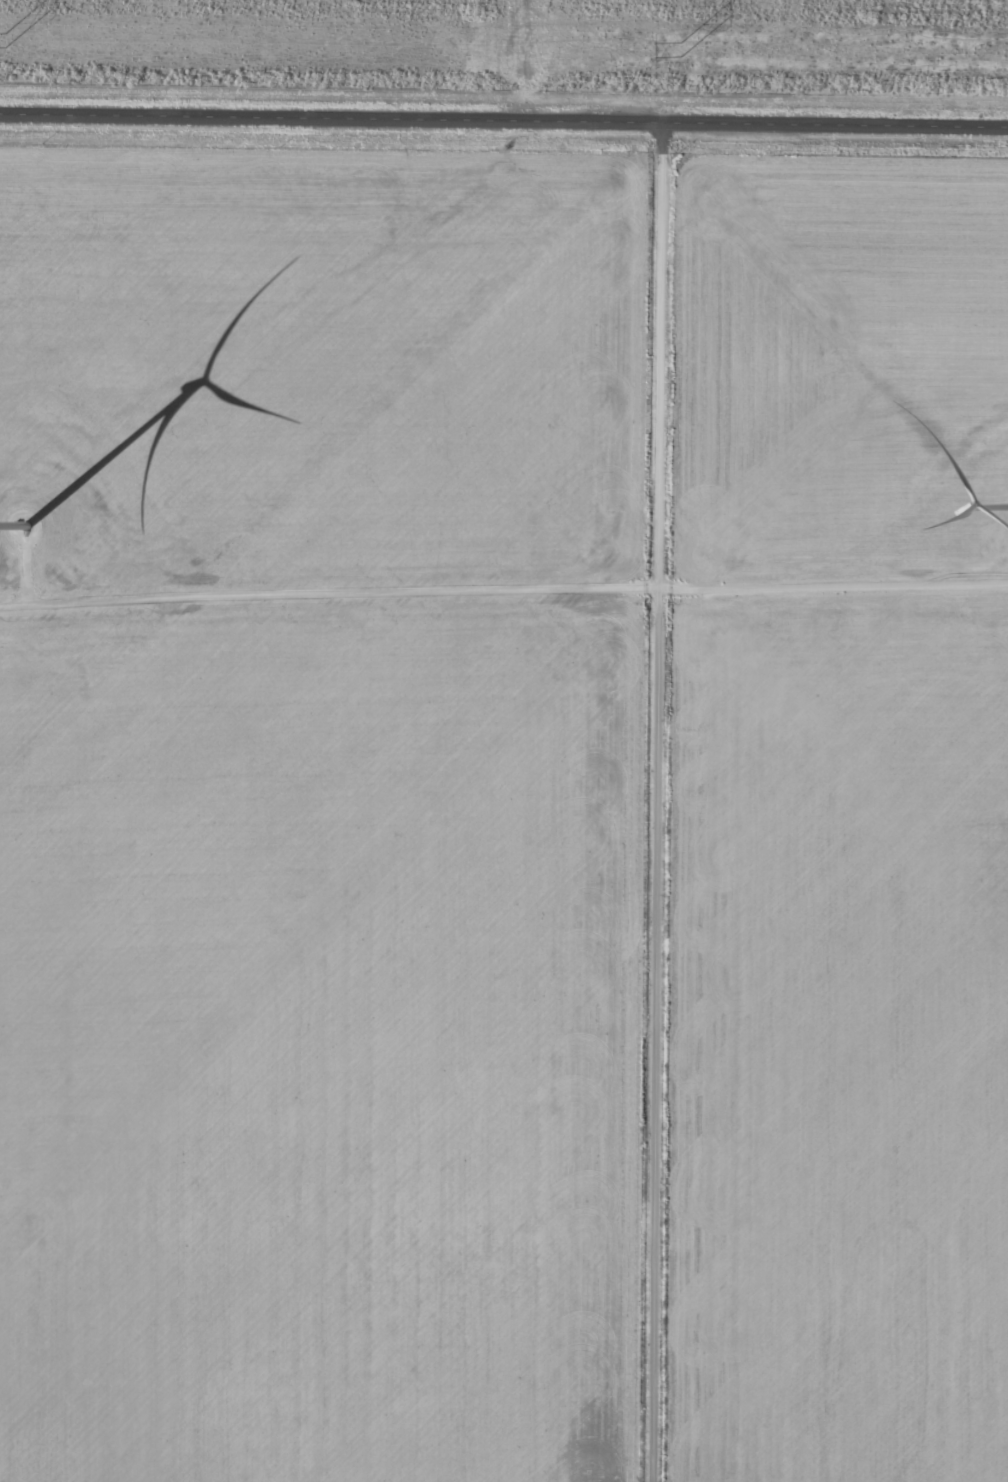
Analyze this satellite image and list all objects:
power tower: (0, 41)
power tower: (673, 51)
road: (503, 123)
wind turbine: (27, 518)
road: (659, 803)

